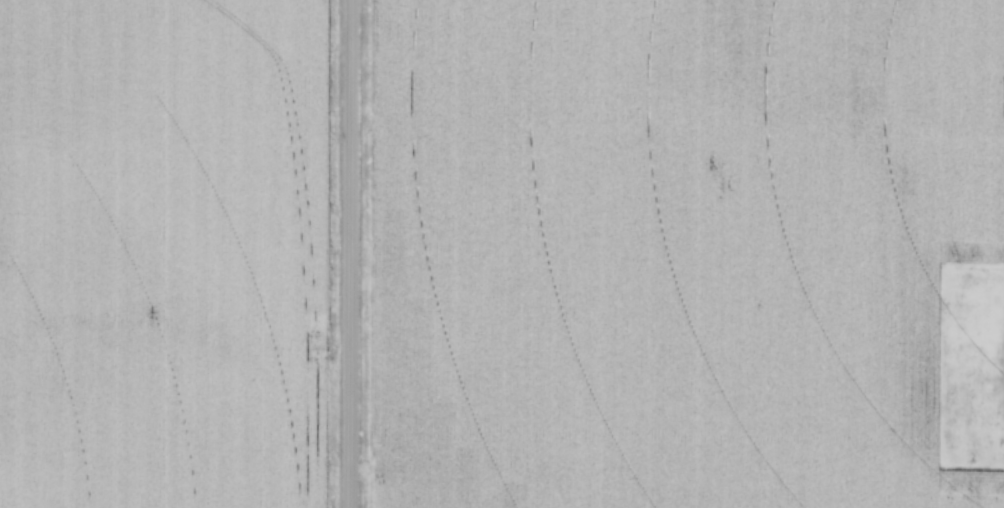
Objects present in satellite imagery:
road: (346, 253)

